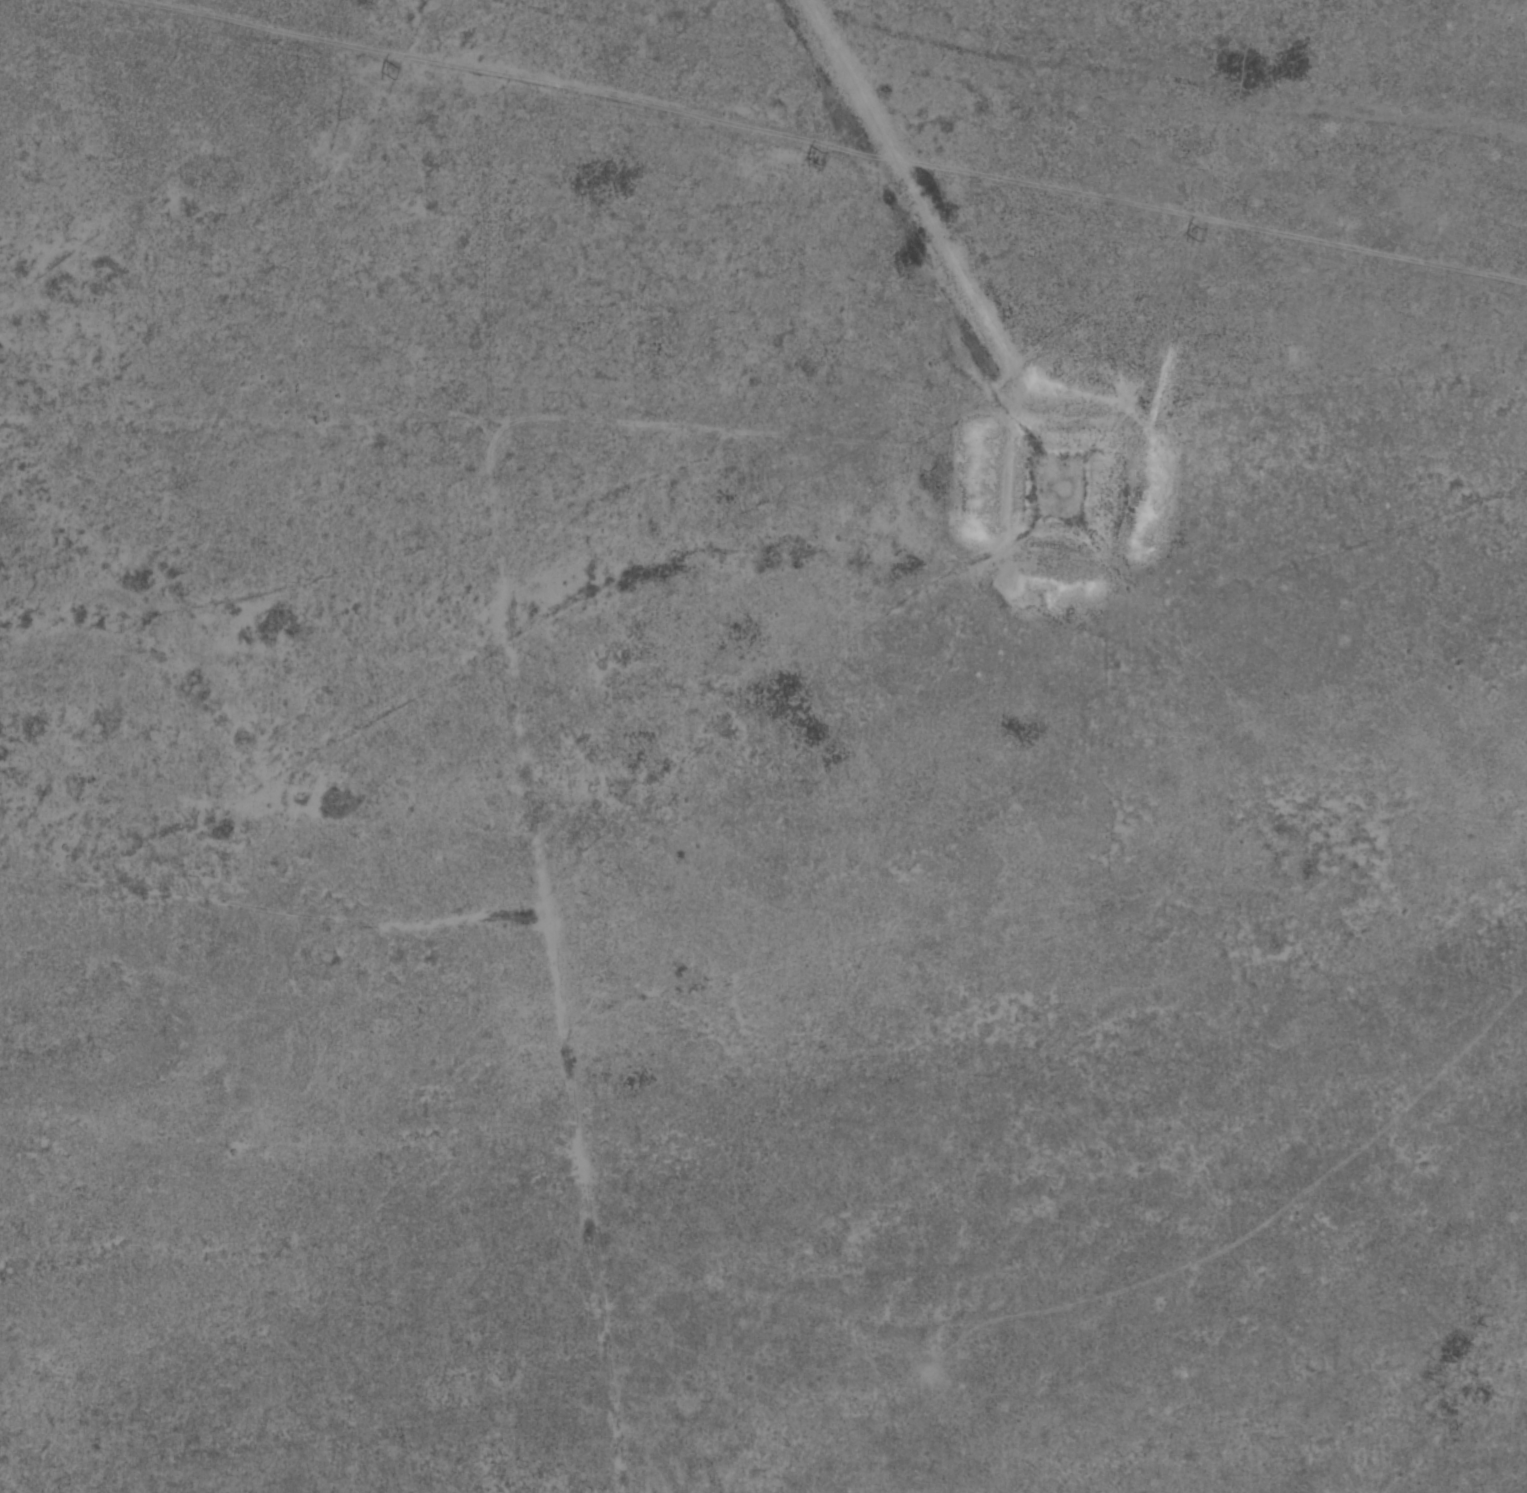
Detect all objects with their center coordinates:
power tower: (395, 72)
power tower: (819, 158)
power tower: (1198, 234)

